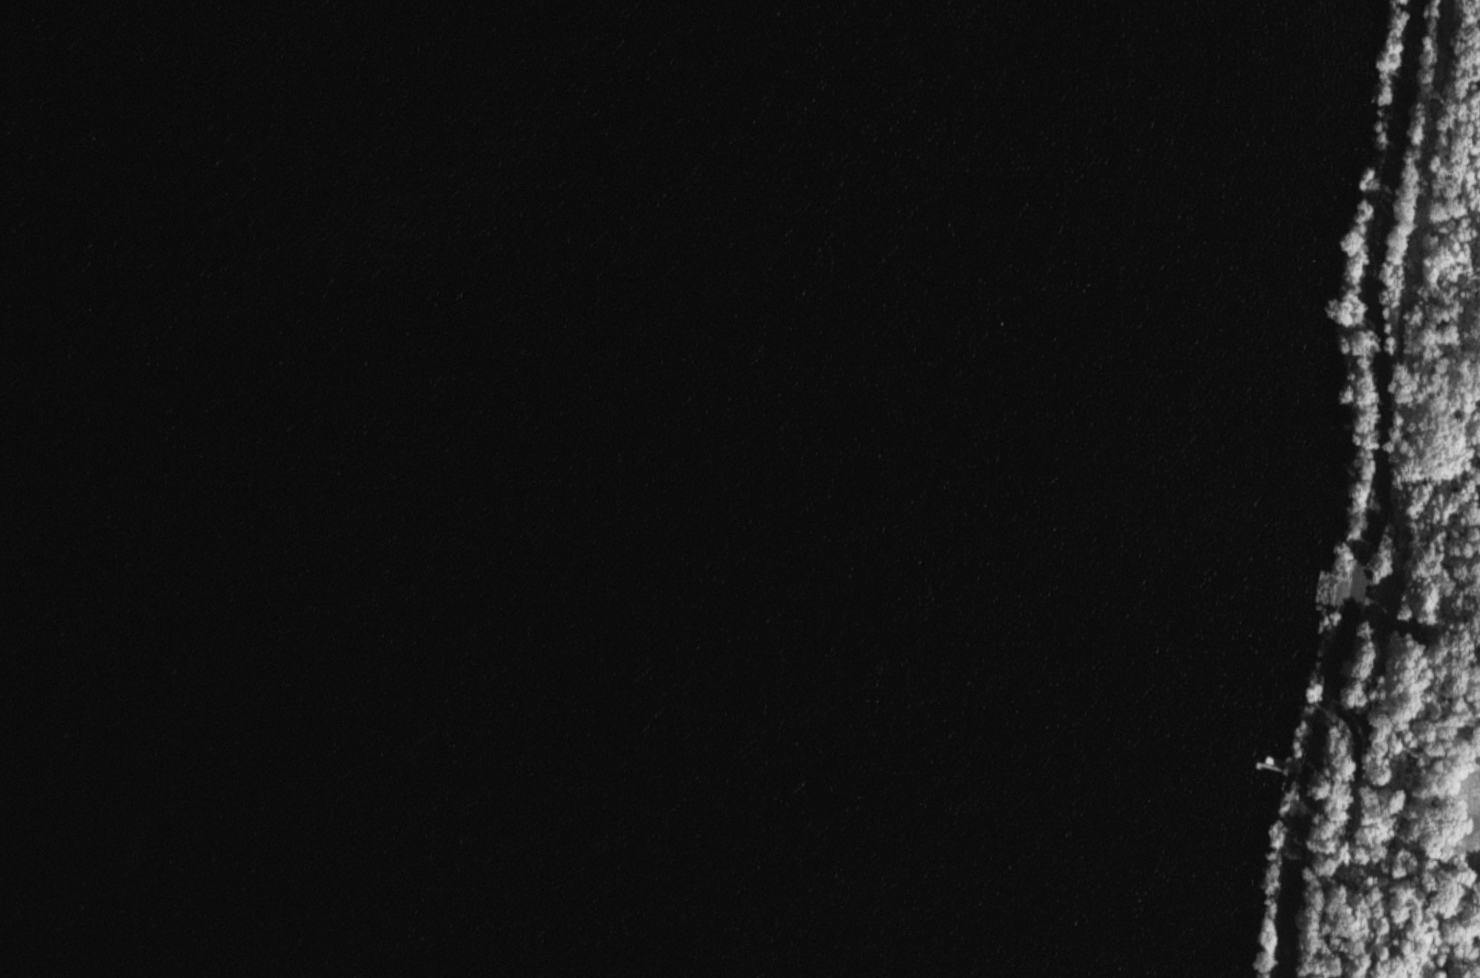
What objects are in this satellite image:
road: (1378, 492)

